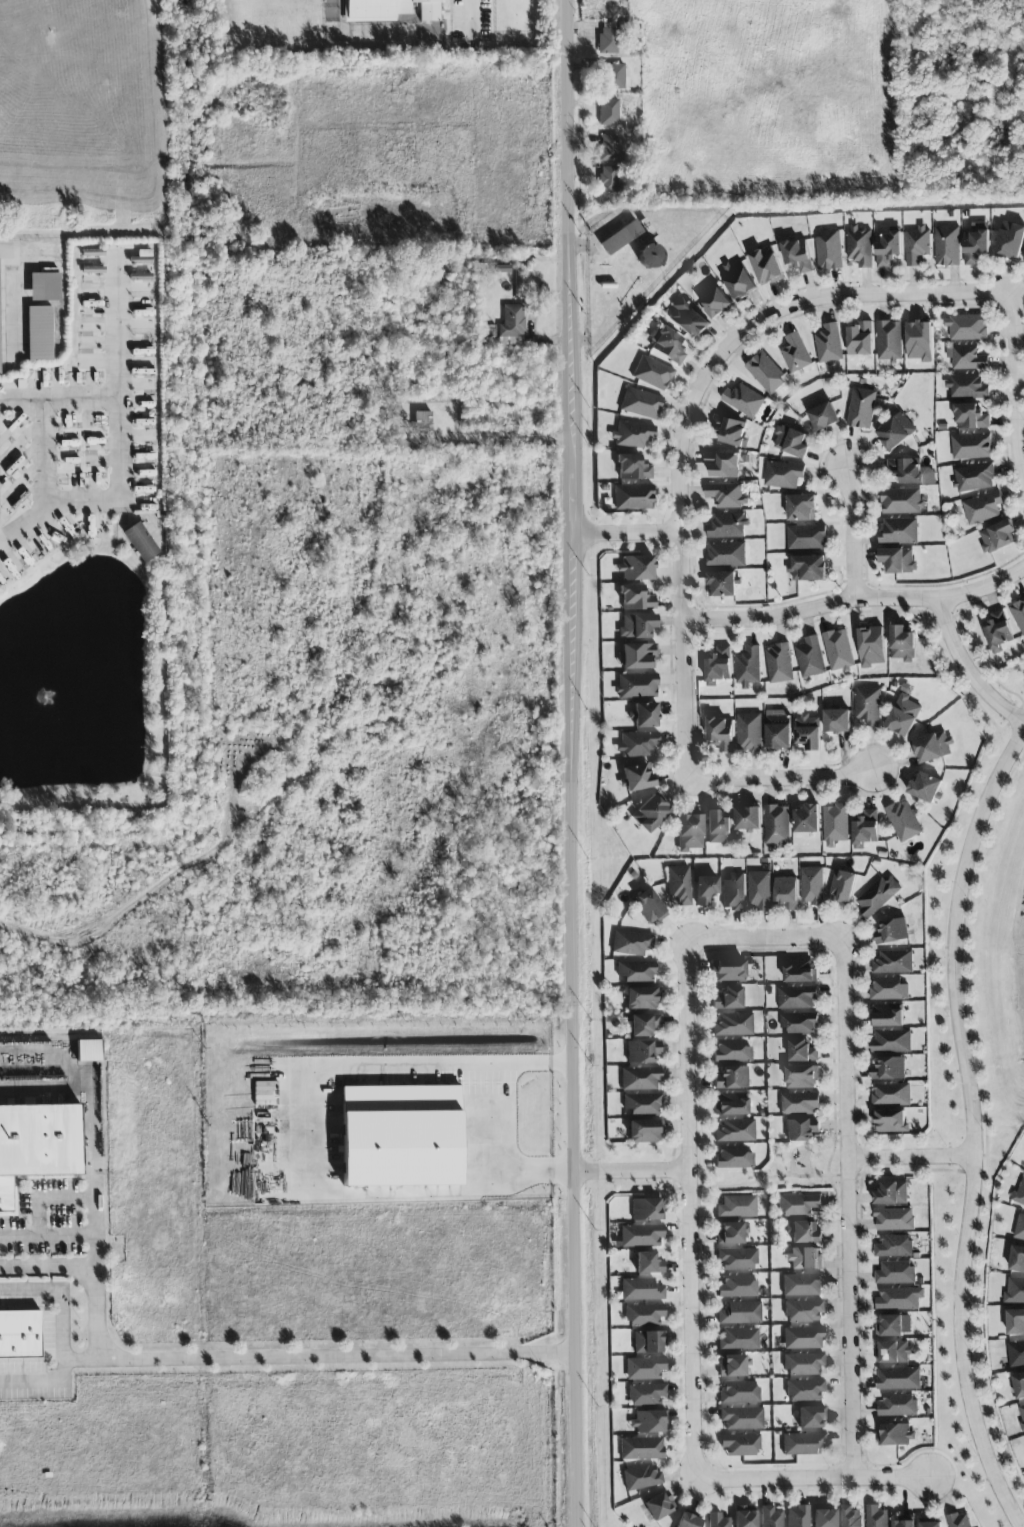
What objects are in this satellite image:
building: (388, 10)
road: (471, 11)
building: (608, 39)
building: (613, 77)
building: (608, 113)
building: (608, 149)
building: (608, 181)
building: (620, 238)
building: (1010, 240)
building: (917, 245)
building: (860, 246)
building: (947, 246)
building: (975, 246)
building: (887, 248)
building: (828, 251)
building: (797, 256)
building: (142, 259)
building: (1023, 259)
building: (766, 266)
building: (140, 278)
building: (738, 280)
building: (44, 287)
road: (13, 296)
building: (715, 303)
building: (688, 320)
building: (512, 326)
building: (966, 327)
building: (39, 334)
building: (860, 339)
building: (889, 340)
building: (919, 341)
building: (828, 344)
building: (668, 347)
building: (795, 354)
building: (966, 357)
building: (766, 373)
building: (652, 374)
road: (1015, 385)
building: (967, 386)
road: (58, 398)
building: (743, 400)
building: (640, 405)
building: (861, 408)
road: (692, 410)
building: (823, 417)
building: (971, 417)
building: (423, 423)
building: (730, 431)
building: (895, 432)
building: (632, 435)
road: (516, 439)
building: (791, 442)
road: (119, 445)
building: (971, 446)
road: (43, 455)
building: (722, 465)
building: (632, 468)
building: (911, 472)
building: (783, 475)
building: (974, 477)
building: (726, 495)
building: (633, 498)
building: (902, 501)
building: (802, 508)
building: (982, 508)
building: (727, 526)
building: (899, 531)
road: (852, 532)
road: (625, 533)
building: (996, 536)
building: (806, 537)
building: (140, 543)
building: (726, 554)
building: (898, 561)
building: (808, 568)
building: (636, 569)
building: (722, 584)
road: (856, 595)
building: (636, 599)
building: (1018, 616)
building: (637, 627)
building: (998, 632)
building: (902, 644)
building: (871, 647)
building: (838, 650)
building: (637, 657)
building: (810, 658)
building: (779, 663)
building: (718, 667)
building: (748, 667)
road: (968, 669)
building: (637, 687)
fountain: (44, 703)
building: (868, 705)
building: (645, 716)
building: (903, 716)
building: (837, 721)
building: (778, 730)
building: (749, 732)
building: (809, 732)
building: (721, 733)
building: (637, 745)
building: (932, 748)
road: (572, 763)
building: (638, 778)
road: (788, 778)
building: (926, 788)
building: (650, 815)
building: (748, 819)
building: (807, 819)
building: (903, 821)
building: (835, 824)
building: (777, 825)
building: (718, 830)
building: (865, 830)
building: (689, 833)
building: (679, 886)
building: (812, 886)
building: (842, 887)
building: (705, 890)
building: (759, 891)
building: (733, 893)
building: (785, 893)
building: (877, 896)
building: (649, 907)
building: (892, 932)
road: (767, 937)
building: (631, 944)
building: (893, 962)
building: (800, 971)
building: (728, 972)
building: (636, 973)
building: (889, 989)
building: (796, 997)
building: (642, 999)
building: (728, 1000)
building: (887, 1015)
building: (799, 1023)
building: (644, 1026)
building: (733, 1026)
building: (891, 1041)
building: (802, 1051)
building: (89, 1052)
building: (642, 1052)
building: (731, 1052)
building: (889, 1069)
building: (802, 1077)
building: (731, 1079)
building: (639, 1080)
road: (85, 1091)
building: (891, 1094)
building: (799, 1103)
building: (641, 1105)
building: (730, 1105)
building: (890, 1122)
road: (975, 1128)
road: (310, 1130)
building: (802, 1130)
building: (644, 1132)
building: (735, 1132)
building: (401, 1137)
building: (39, 1145)
road: (917, 1157)
building: (733, 1158)
road: (633, 1171)
park: (789, 1172)
road: (773, 1177)
building: (891, 1193)
building: (1019, 1194)
road: (49, 1199)
building: (736, 1206)
building: (799, 1207)
building: (646, 1210)
road: (856, 1210)
road: (693, 1212)
building: (894, 1219)
road: (94, 1220)
building: (1020, 1228)
building: (732, 1233)
building: (802, 1234)
road: (47, 1235)
building: (642, 1239)
building: (894, 1246)
building: (1017, 1259)
building: (804, 1260)
building: (736, 1261)
building: (648, 1266)
road: (94, 1267)
building: (895, 1273)
building: (737, 1287)
building: (803, 1287)
building: (642, 1290)
building: (1015, 1291)
building: (900, 1298)
building: (803, 1313)
building: (739, 1314)
building: (644, 1318)
building: (1015, 1322)
building: (890, 1326)
building: (18, 1333)
road: (61, 1335)
building: (803, 1340)
building: (737, 1341)
building: (649, 1345)
building: (893, 1352)
building: (1016, 1353)
road: (338, 1356)
road: (81, 1359)
building: (804, 1367)
building: (731, 1369)
building: (645, 1371)
building: (898, 1378)
building: (1019, 1385)
building: (806, 1393)
building: (739, 1394)
building: (647, 1397)
building: (897, 1406)
building: (1021, 1414)
building: (813, 1419)
building: (741, 1420)
building: (647, 1424)
building: (895, 1434)
building: (740, 1446)
building: (804, 1446)
building: (641, 1453)
road: (814, 1478)
building: (641, 1482)
building: (659, 1507)
building: (770, 1517)
building: (798, 1517)
building: (850, 1517)
building: (876, 1517)
building: (824, 1518)
building: (745, 1519)
building: (716, 1520)
building: (959, 1520)
building: (690, 1521)
building: (904, 1522)
building: (931, 1524)

